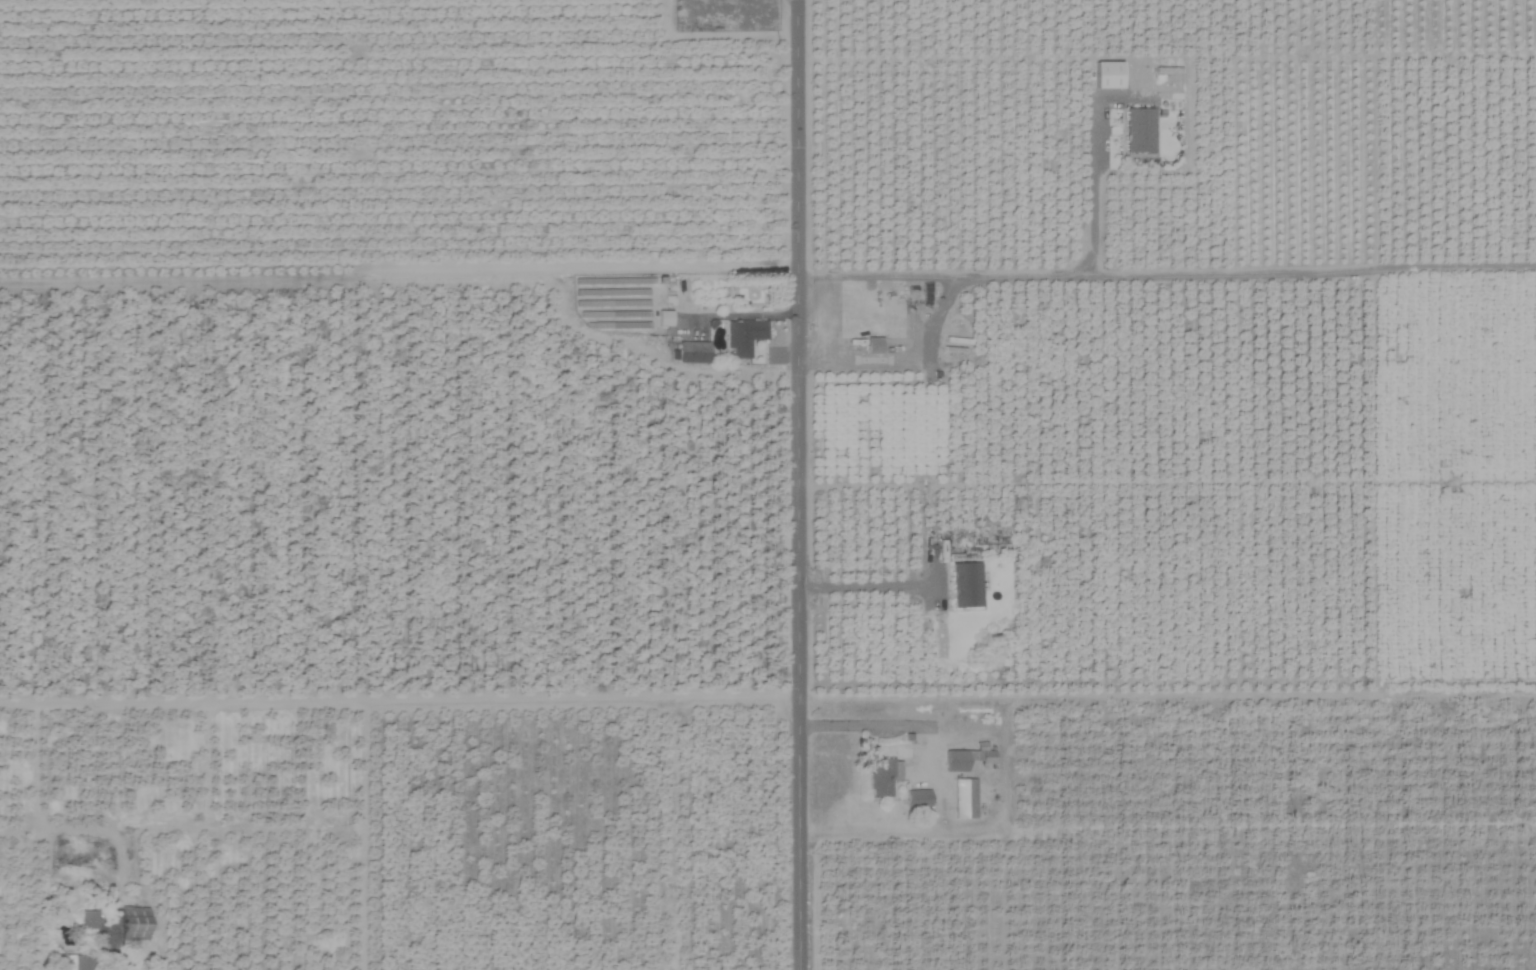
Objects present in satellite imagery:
building: (1136, 130)
road: (1092, 195)
road: (683, 264)
road: (1012, 267)
building: (742, 336)
building: (870, 345)
building: (691, 352)
road: (803, 484)
building: (963, 585)
road: (869, 587)
road: (401, 694)
road: (862, 725)
building: (984, 757)
building: (955, 760)
building: (878, 777)
building: (914, 798)
building: (963, 798)
building: (86, 920)
building: (131, 923)
building: (74, 962)
road: (113, 967)

